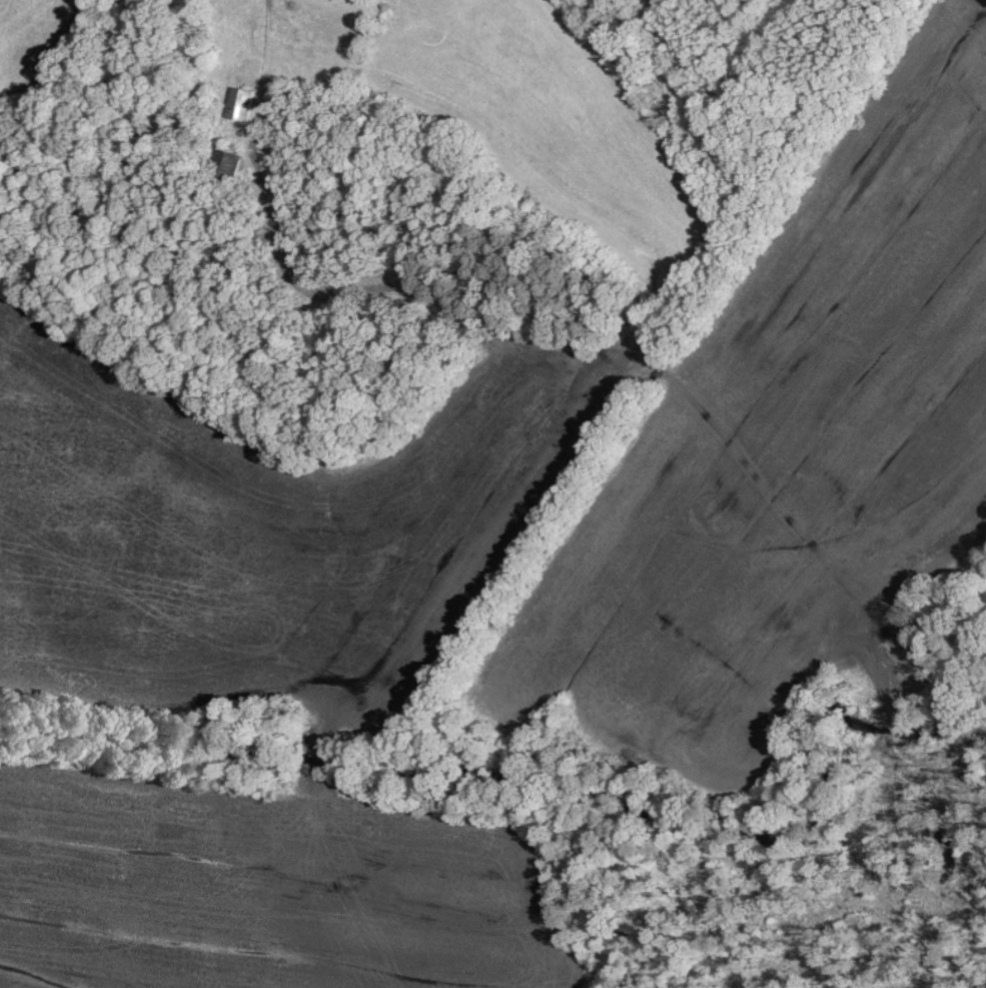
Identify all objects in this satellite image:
road: (313, 77)
building: (246, 104)

